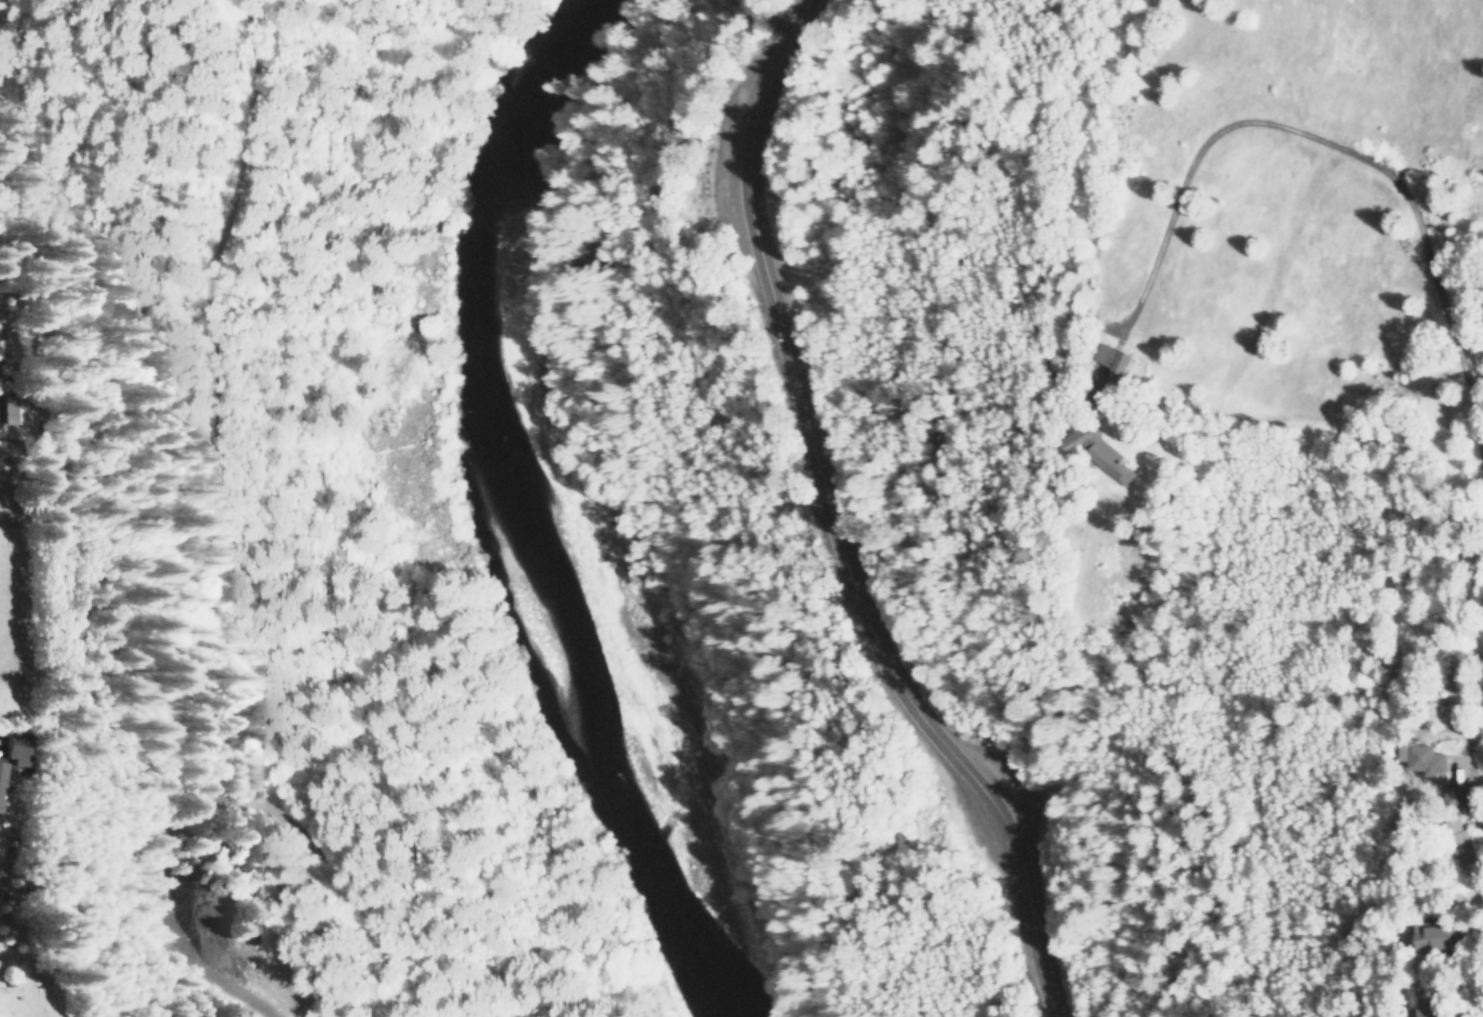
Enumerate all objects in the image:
building: (0, 348)
building: (1111, 358)
building: (17, 410)
building: (8, 448)
building: (1097, 452)
road: (260, 503)
road: (835, 523)
river: (531, 530)
building: (18, 748)
building: (1423, 758)
building: (2, 775)
building: (1431, 936)
road: (249, 996)
building: (1429, 1013)

